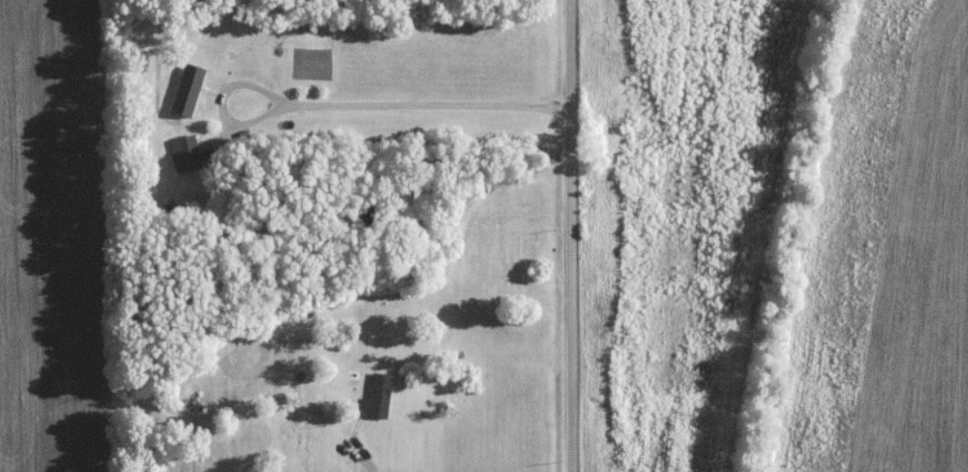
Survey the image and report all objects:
building: (184, 89)
road: (348, 107)
building: (182, 152)
road: (573, 235)
building: (375, 395)
road: (368, 469)

